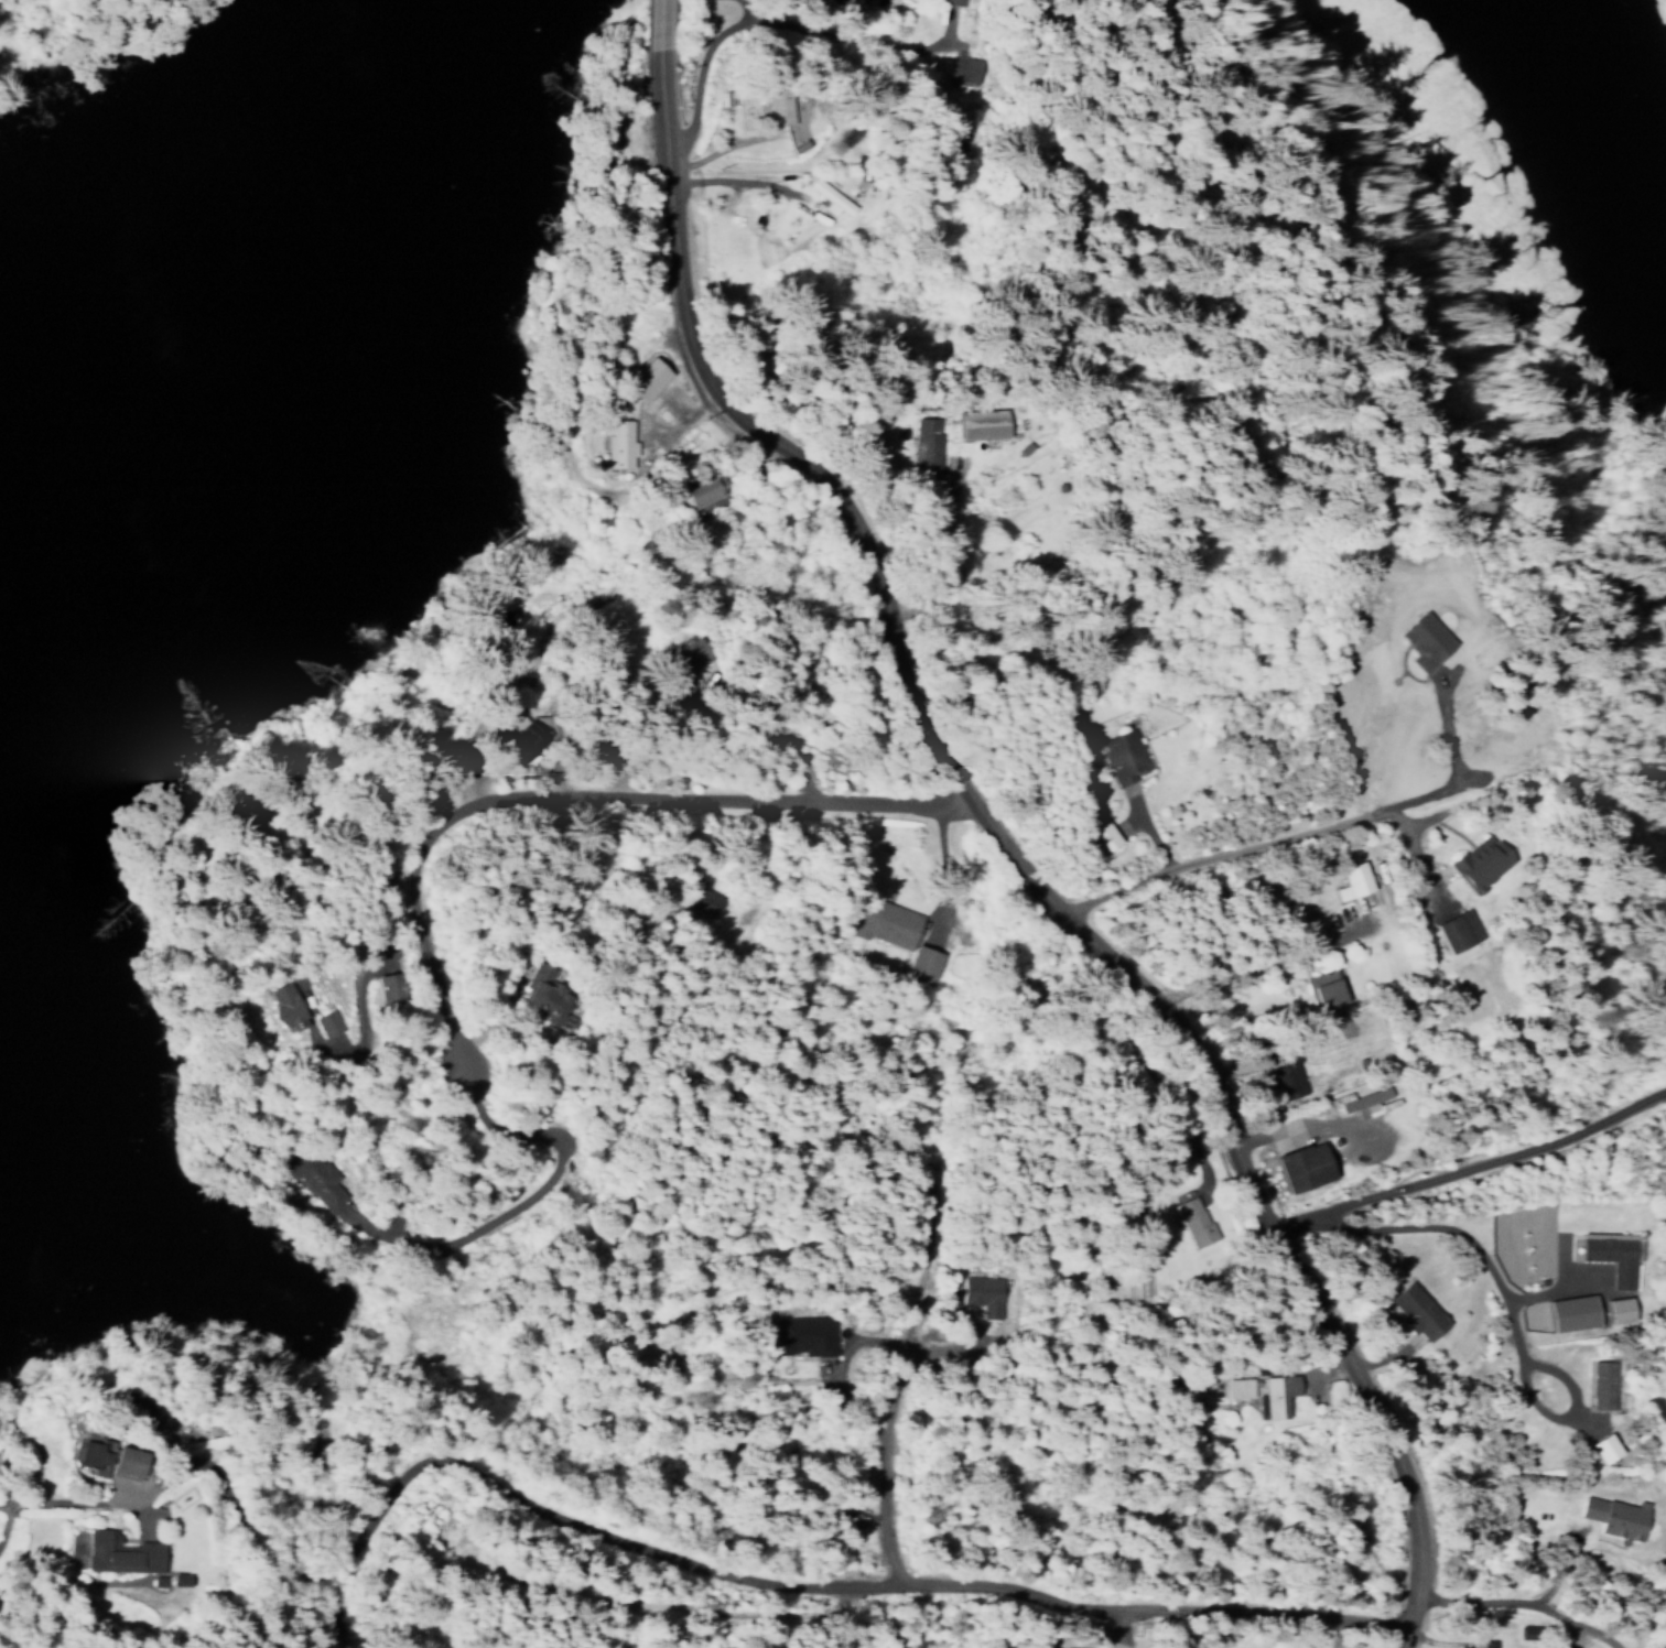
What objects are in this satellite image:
building: (946, 2)
road: (654, 21)
building: (966, 64)
building: (773, 101)
building: (831, 192)
building: (647, 373)
building: (982, 419)
building: (618, 440)
building: (924, 446)
building: (703, 489)
building: (685, 665)
building: (1124, 752)
road: (570, 791)
building: (1103, 832)
road: (1254, 841)
road: (943, 857)
road: (988, 858)
building: (1480, 858)
building: (1353, 876)
building: (700, 900)
building: (885, 917)
building: (1457, 925)
building: (921, 958)
road: (1252, 961)
building: (1324, 985)
building: (385, 988)
building: (282, 1006)
building: (1252, 1074)
building: (1283, 1074)
building: (1364, 1095)
building: (1284, 1167)
building: (317, 1180)
building: (1196, 1216)
building: (1613, 1250)
building: (974, 1293)
building: (1418, 1307)
building: (1609, 1311)
building: (1566, 1312)
building: (804, 1334)
road: (892, 1364)
building: (1605, 1379)
building: (1236, 1387)
building: (1597, 1448)
building: (93, 1452)
building: (132, 1462)
building: (1615, 1511)
building: (121, 1552)
road: (690, 1561)
road: (1558, 1566)
road: (1505, 1598)
building: (1483, 1644)

